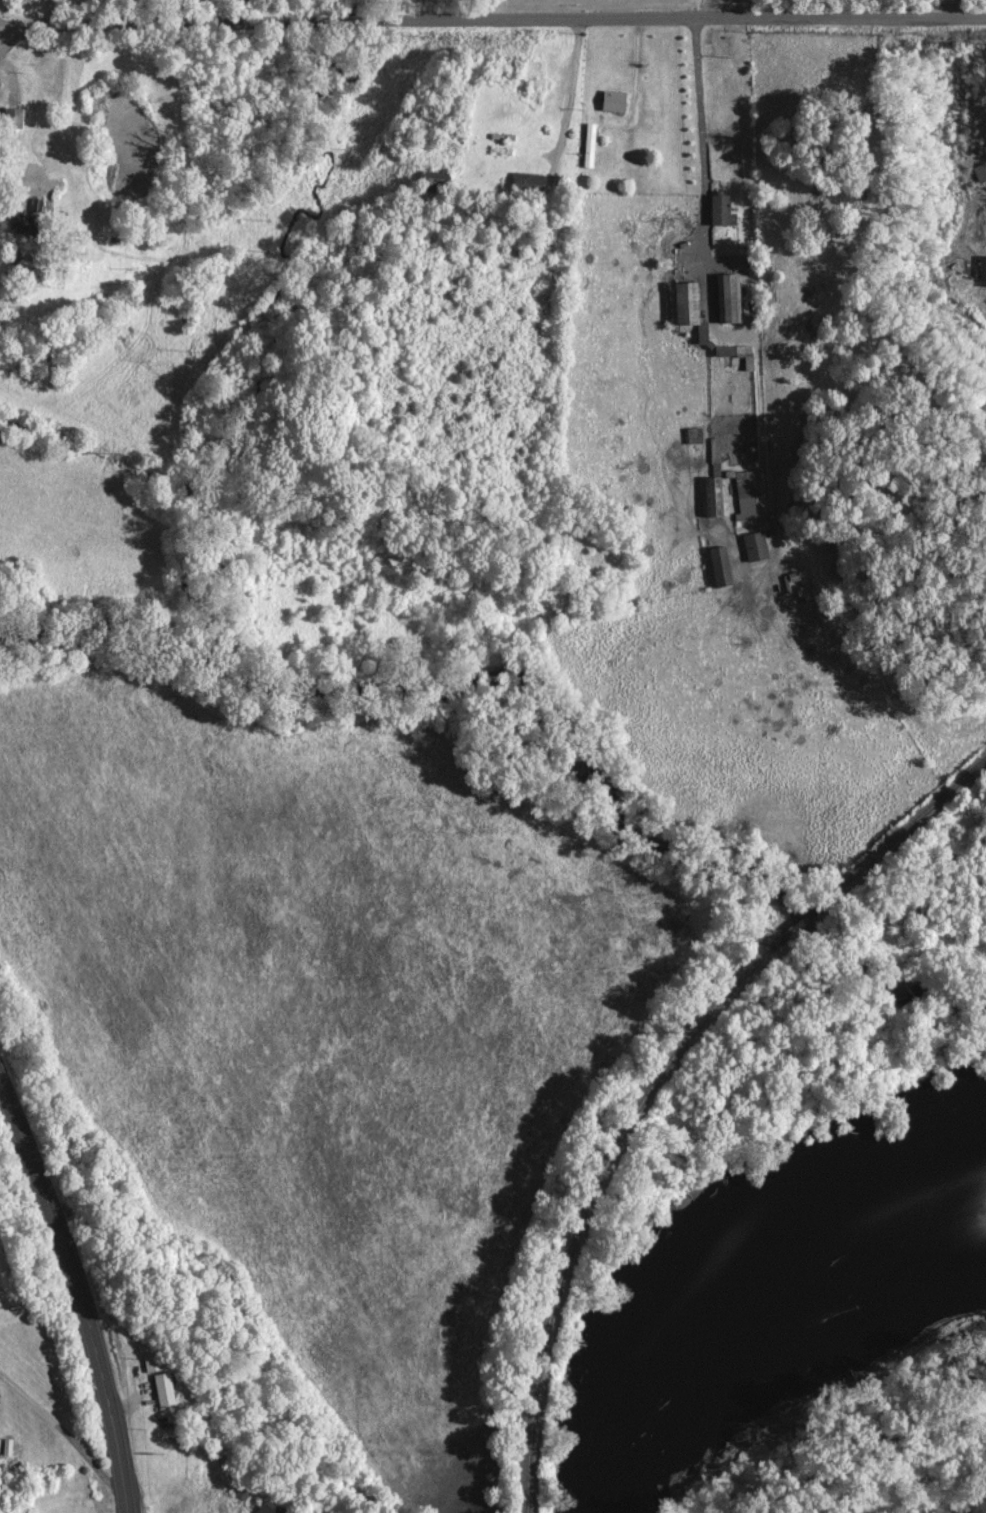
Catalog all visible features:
road: (492, 21)
road: (568, 94)
building: (613, 100)
building: (12, 116)
road: (702, 143)
building: (980, 170)
building: (433, 176)
building: (527, 180)
building: (721, 209)
building: (983, 269)
building: (726, 296)
building: (689, 307)
building: (715, 495)
building: (746, 495)
building: (755, 545)
building: (720, 565)
railway: (900, 834)
railway: (792, 930)
railway: (586, 1206)
river: (729, 1261)
road: (80, 1292)
building: (152, 1362)
building: (163, 1388)
road: (66, 1434)
building: (268, 1507)

